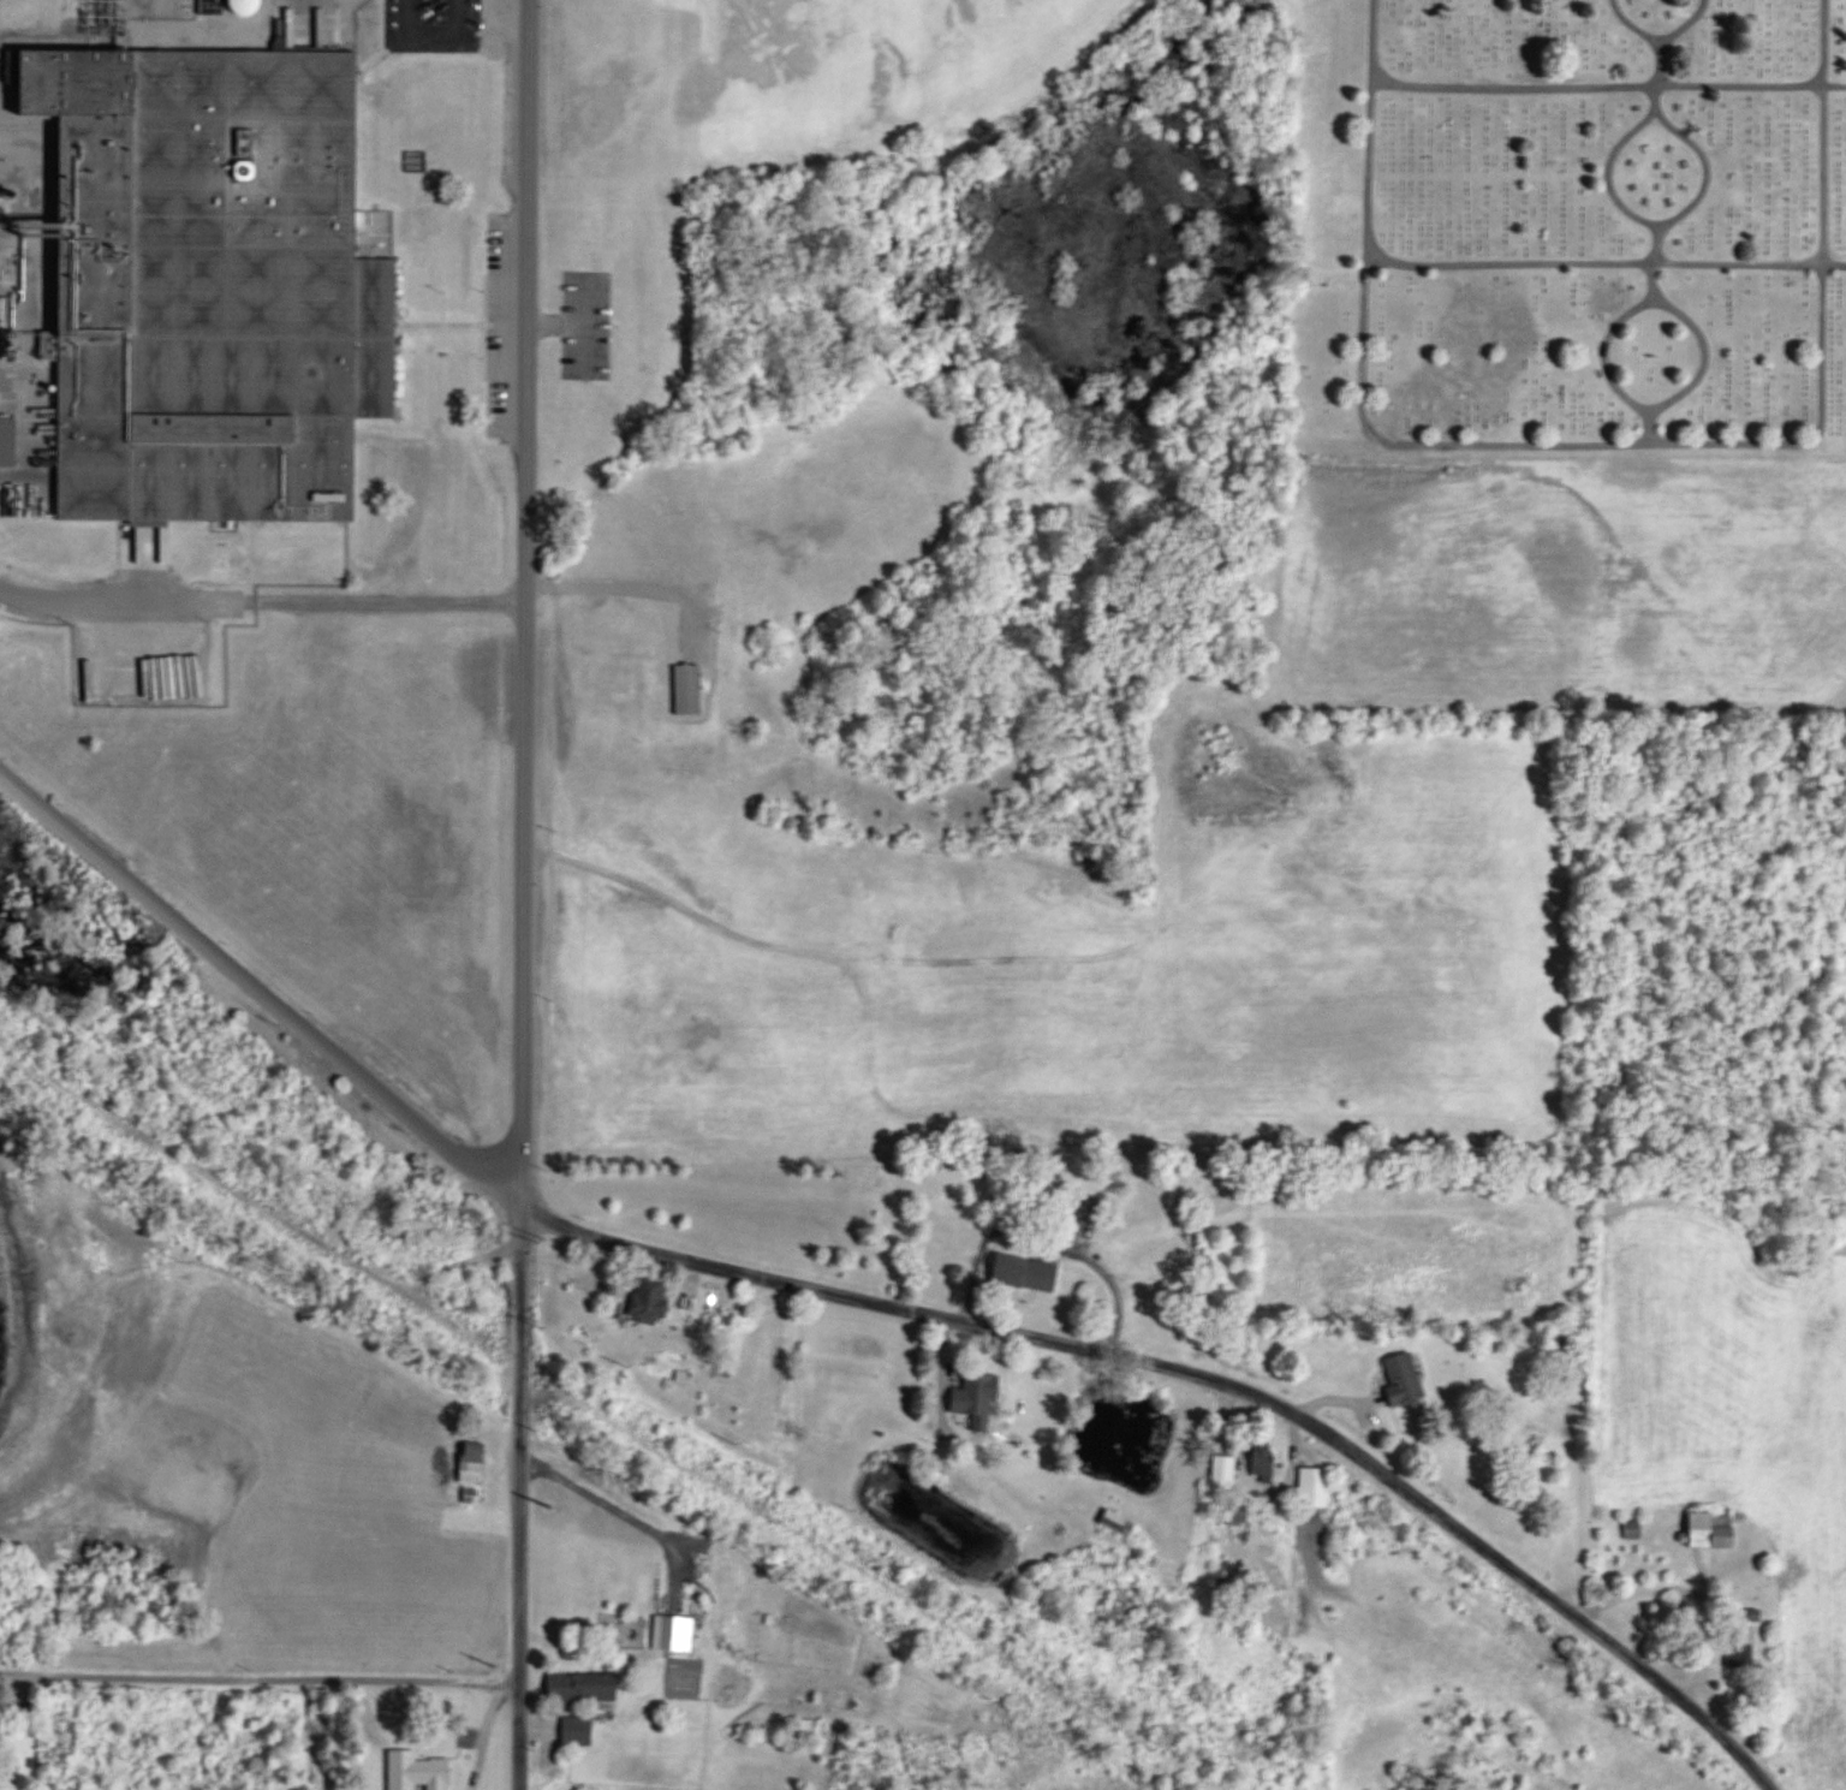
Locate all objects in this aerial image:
building: (249, 6)
road: (435, 31)
building: (582, 71)
building: (584, 237)
building: (215, 281)
park: (1553, 357)
road: (12, 373)
building: (11, 440)
road: (1590, 441)
road: (633, 583)
road: (262, 600)
road: (525, 688)
building: (691, 688)
road: (1042, 1243)
building: (1037, 1275)
building: (650, 1300)
road: (865, 1315)
building: (1405, 1379)
building: (982, 1397)
building: (476, 1464)
building: (1228, 1473)
building: (1320, 1487)
building: (1123, 1522)
building: (1715, 1530)
road: (516, 1583)
road: (256, 1676)
building: (589, 1687)
building: (584, 1731)
building: (632, 1766)
building: (421, 1772)

